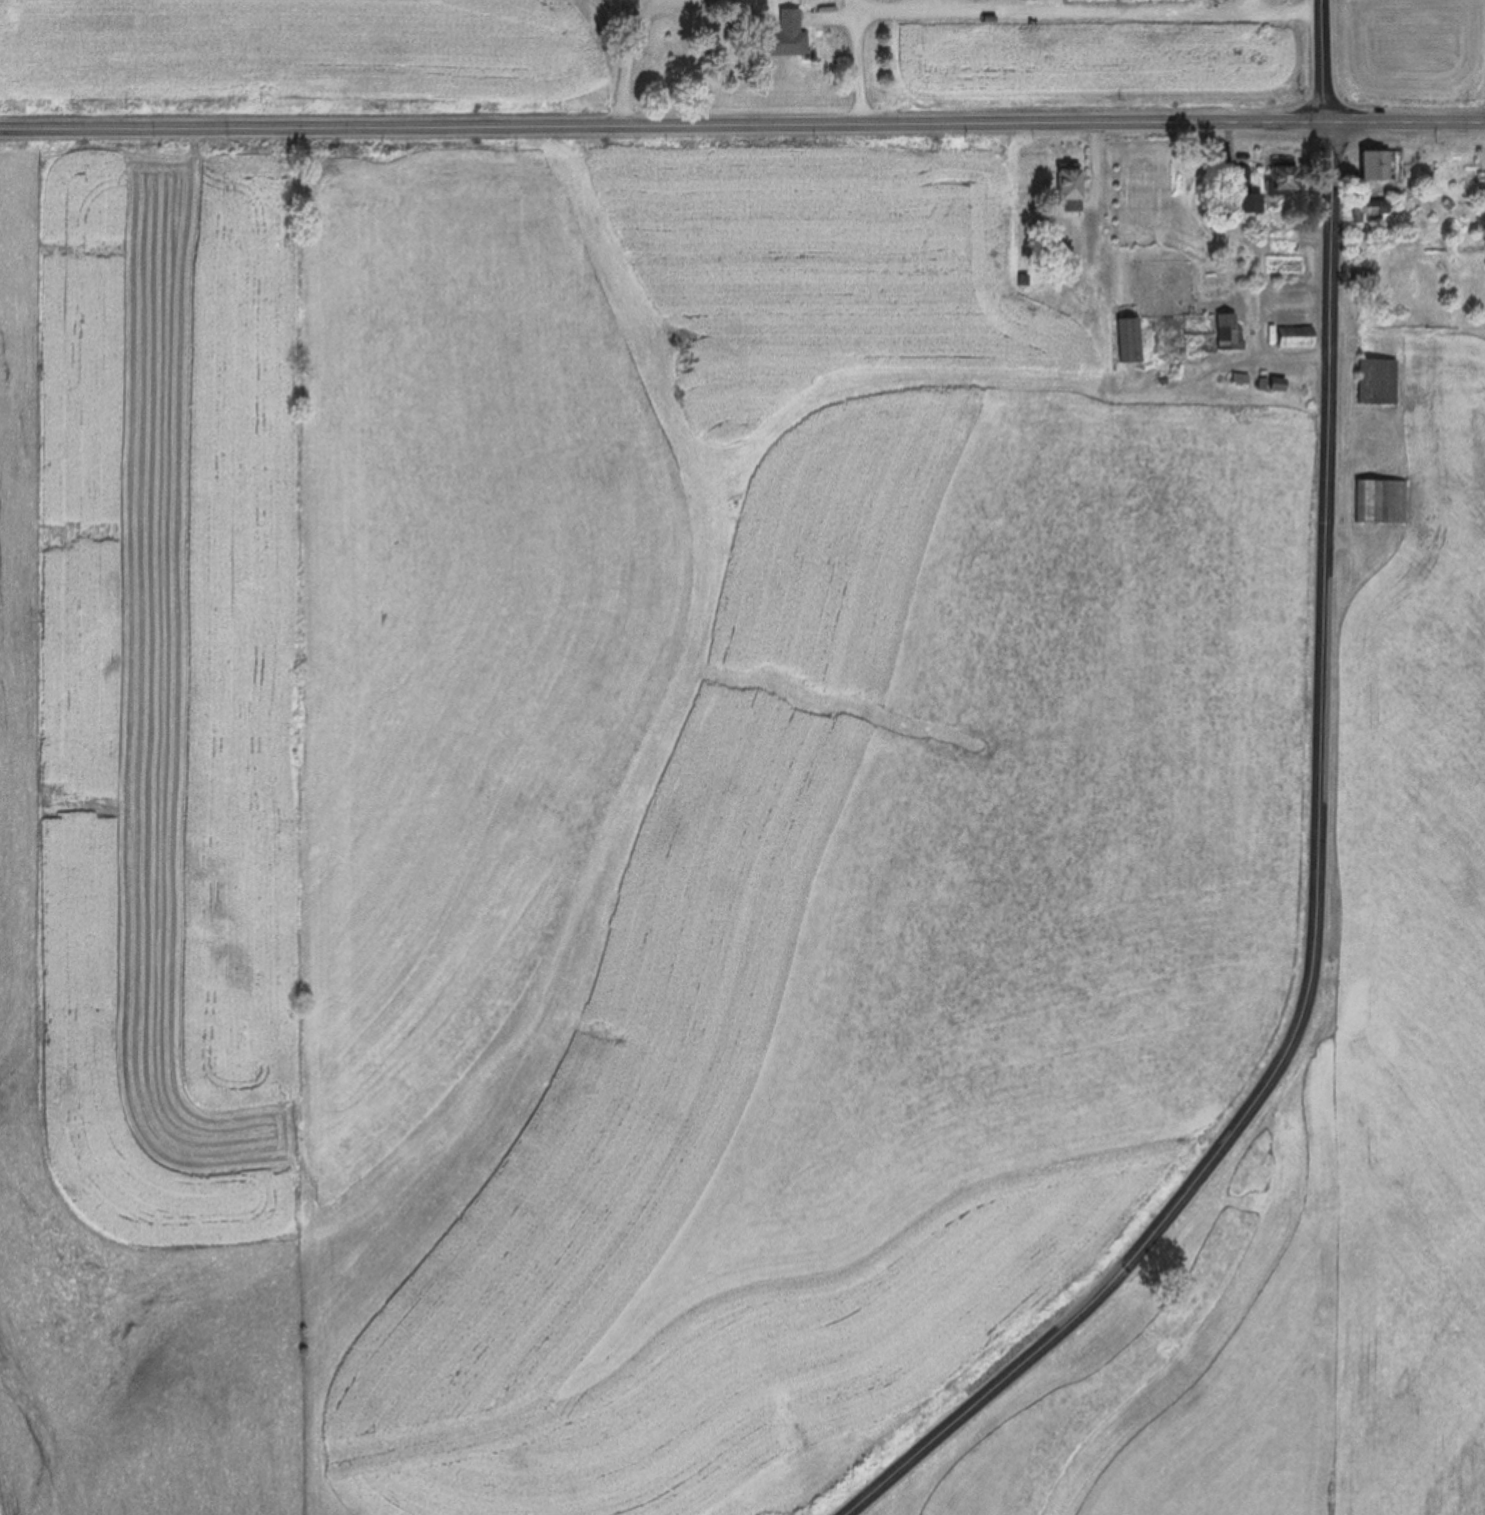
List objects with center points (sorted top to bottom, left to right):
road: (1091, 8)
building: (782, 34)
road: (632, 52)
road: (863, 61)
road: (742, 124)
building: (1370, 163)
building: (1275, 176)
building: (1064, 186)
building: (1241, 190)
building: (1366, 210)
building: (1078, 272)
building: (1361, 279)
building: (1226, 331)
building: (1291, 335)
building: (1125, 337)
building: (1374, 379)
building: (1268, 382)
building: (1377, 500)
road: (1312, 847)

